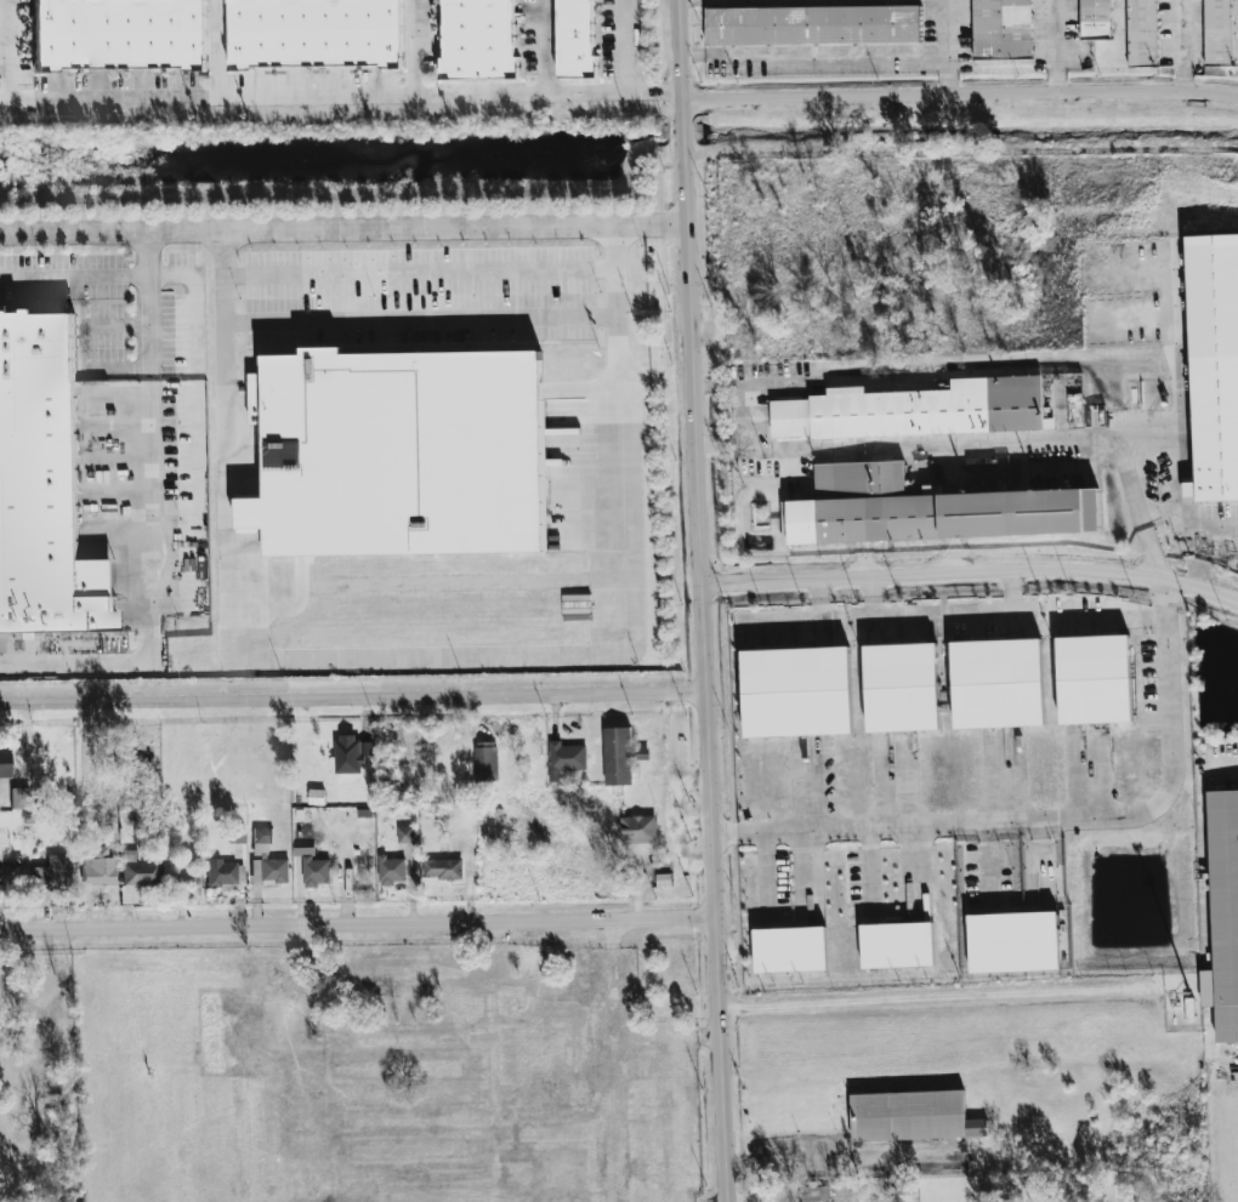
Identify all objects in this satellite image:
building: (1096, 18)
building: (813, 23)
building: (1003, 28)
building: (1222, 30)
building: (1145, 32)
building: (119, 34)
building: (318, 34)
building: (578, 36)
building: (481, 38)
road: (625, 45)
road: (1194, 45)
road: (413, 46)
road: (545, 46)
road: (8, 47)
road: (218, 47)
road: (947, 47)
road: (813, 53)
road: (1064, 57)
road: (340, 93)
road: (959, 93)
road: (665, 222)
road: (594, 223)
road: (269, 227)
road: (419, 273)
road: (74, 275)
road: (148, 303)
road: (420, 318)
road: (117, 325)
road: (117, 368)
road: (195, 378)
building: (915, 410)
building: (1216, 426)
road: (977, 443)
building: (398, 450)
building: (42, 486)
building: (952, 511)
road: (973, 572)
road: (1012, 588)
road: (870, 594)
road: (151, 596)
road: (820, 598)
road: (705, 600)
road: (425, 657)
building: (1095, 676)
building: (998, 679)
building: (902, 683)
building: (797, 688)
road: (353, 697)
building: (348, 752)
building: (619, 754)
building: (564, 757)
building: (485, 759)
road: (1221, 762)
building: (4, 763)
building: (317, 796)
building: (21, 797)
road: (1052, 818)
building: (638, 830)
building: (301, 832)
building: (237, 833)
building: (403, 834)
building: (796, 844)
building: (268, 859)
building: (442, 868)
building: (317, 870)
building: (392, 870)
building: (100, 873)
building: (223, 873)
building: (660, 873)
building: (53, 875)
building: (137, 878)
building: (1223, 894)
road: (359, 924)
building: (1013, 940)
building: (897, 944)
building: (790, 947)
road: (407, 973)
road: (947, 996)
road: (1198, 1024)
road: (1226, 1038)
road: (615, 1061)
building: (490, 1095)
building: (913, 1115)
building: (303, 1118)
road: (842, 1163)
building: (816, 1194)

